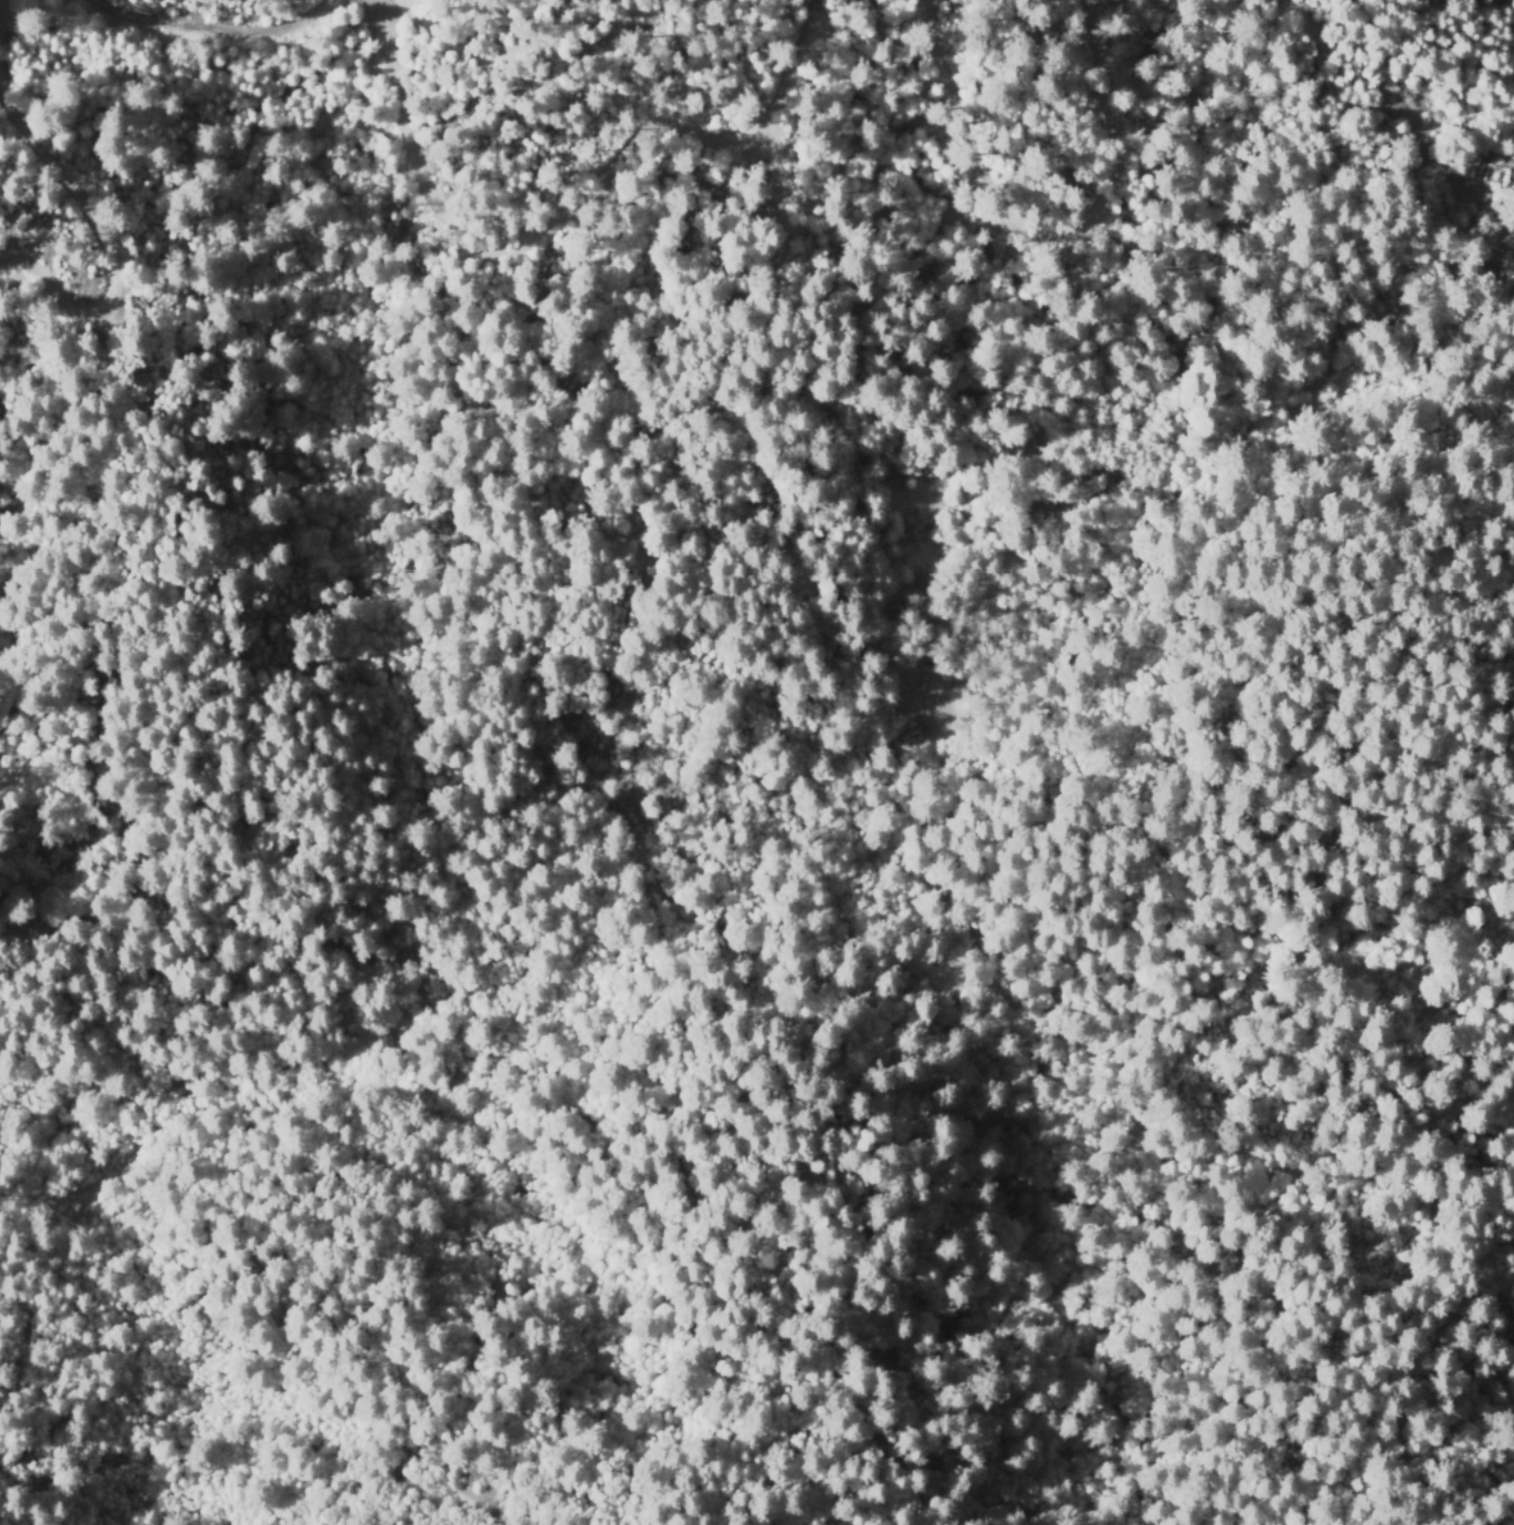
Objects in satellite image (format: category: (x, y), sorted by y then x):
road: (2, 5)
road: (215, 31)
road: (583, 206)
road: (1044, 228)
road: (116, 255)

